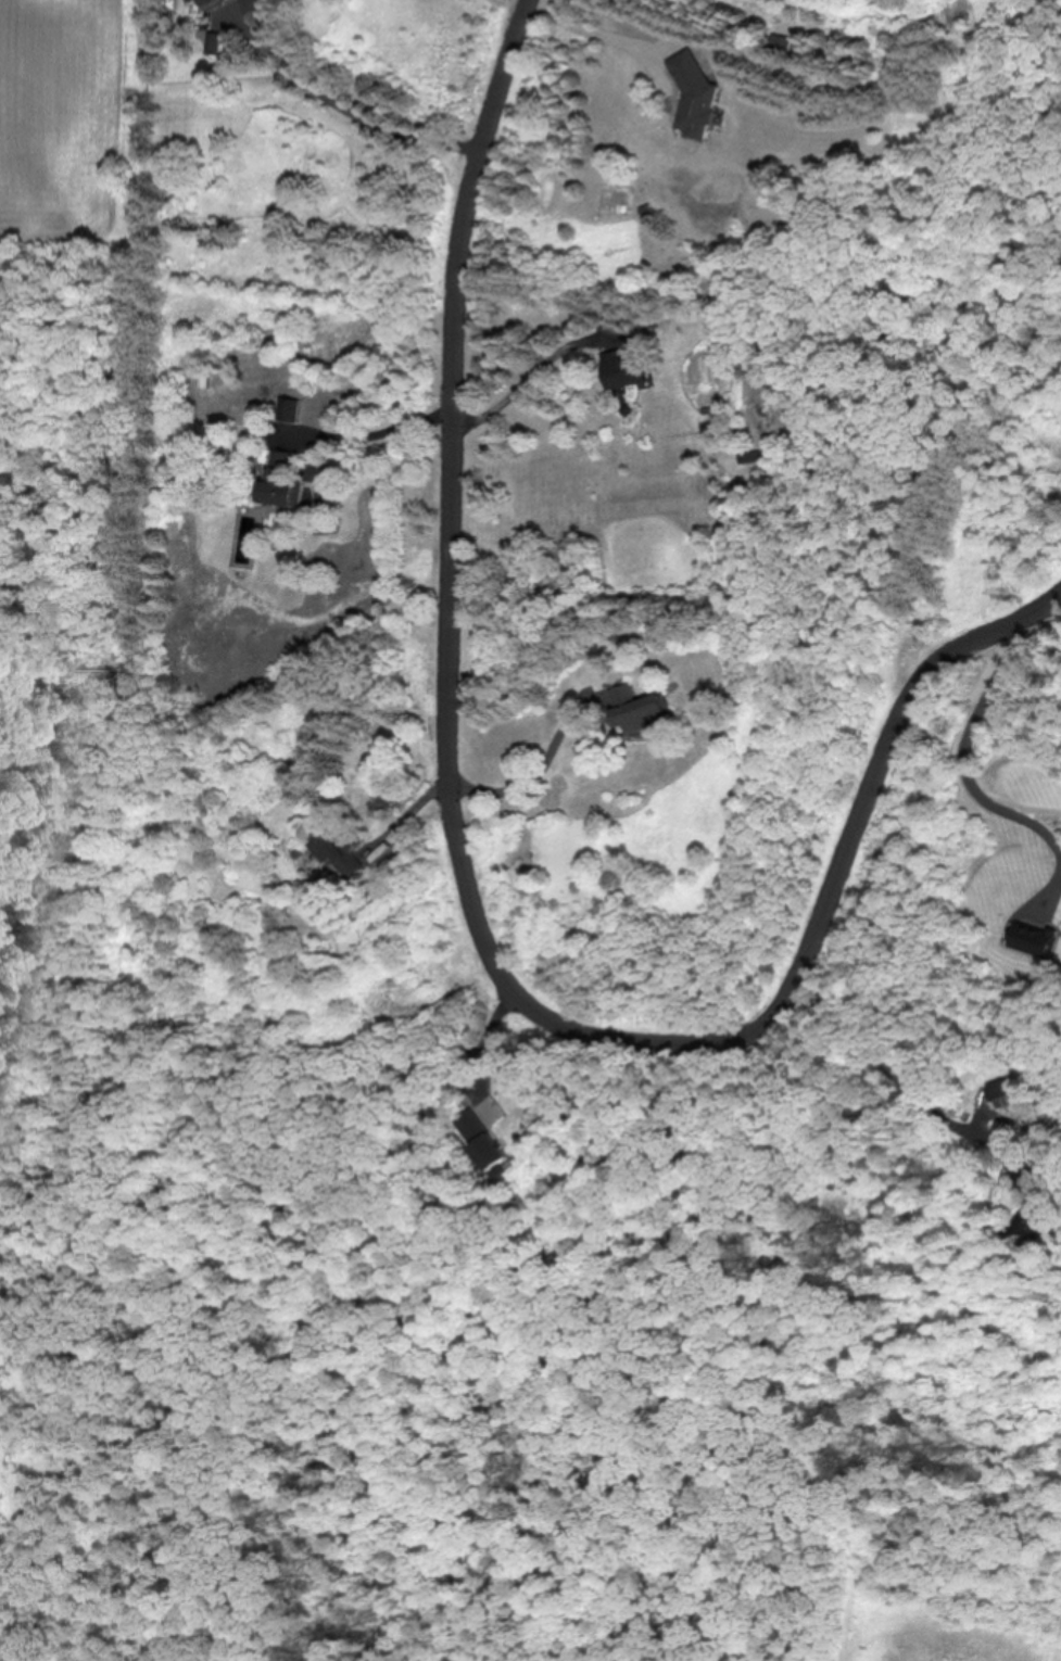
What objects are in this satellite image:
building: (199, 3)
building: (252, 4)
road: (605, 27)
road: (343, 111)
building: (628, 372)
road: (517, 385)
road: (358, 435)
building: (753, 457)
building: (279, 478)
road: (449, 497)
building: (634, 707)
road: (961, 748)
road: (540, 774)
building: (333, 852)
road: (822, 903)
park: (67, 1027)
road: (891, 1072)
building: (483, 1140)
building: (1028, 1219)
road: (70, 1458)

